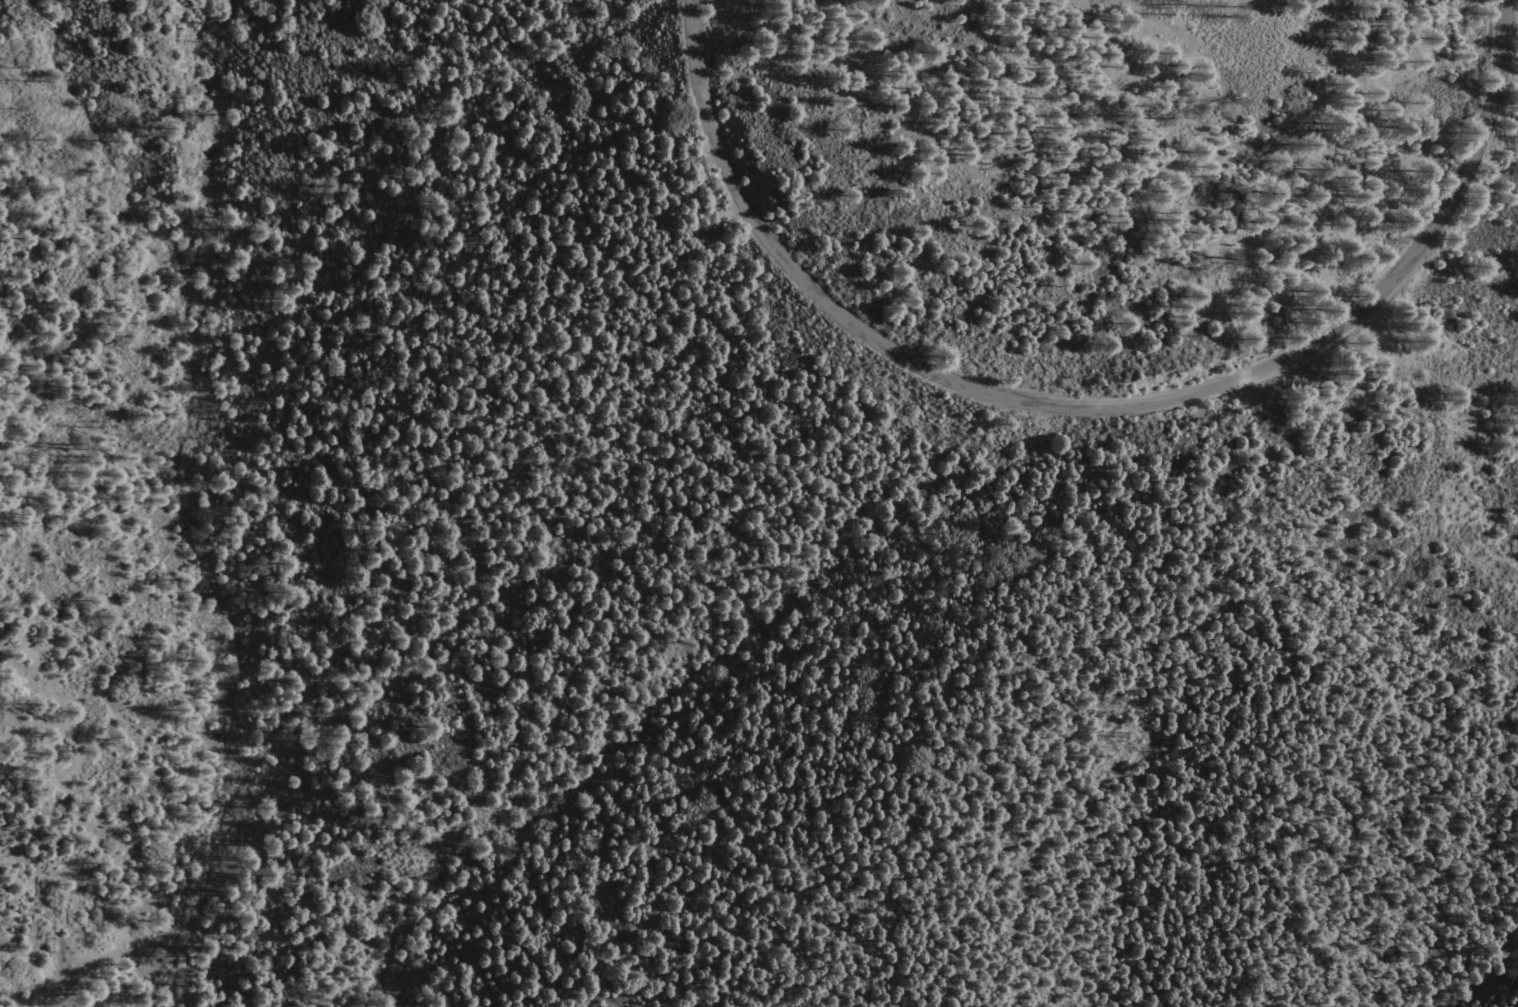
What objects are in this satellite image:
road: (1100, 406)

